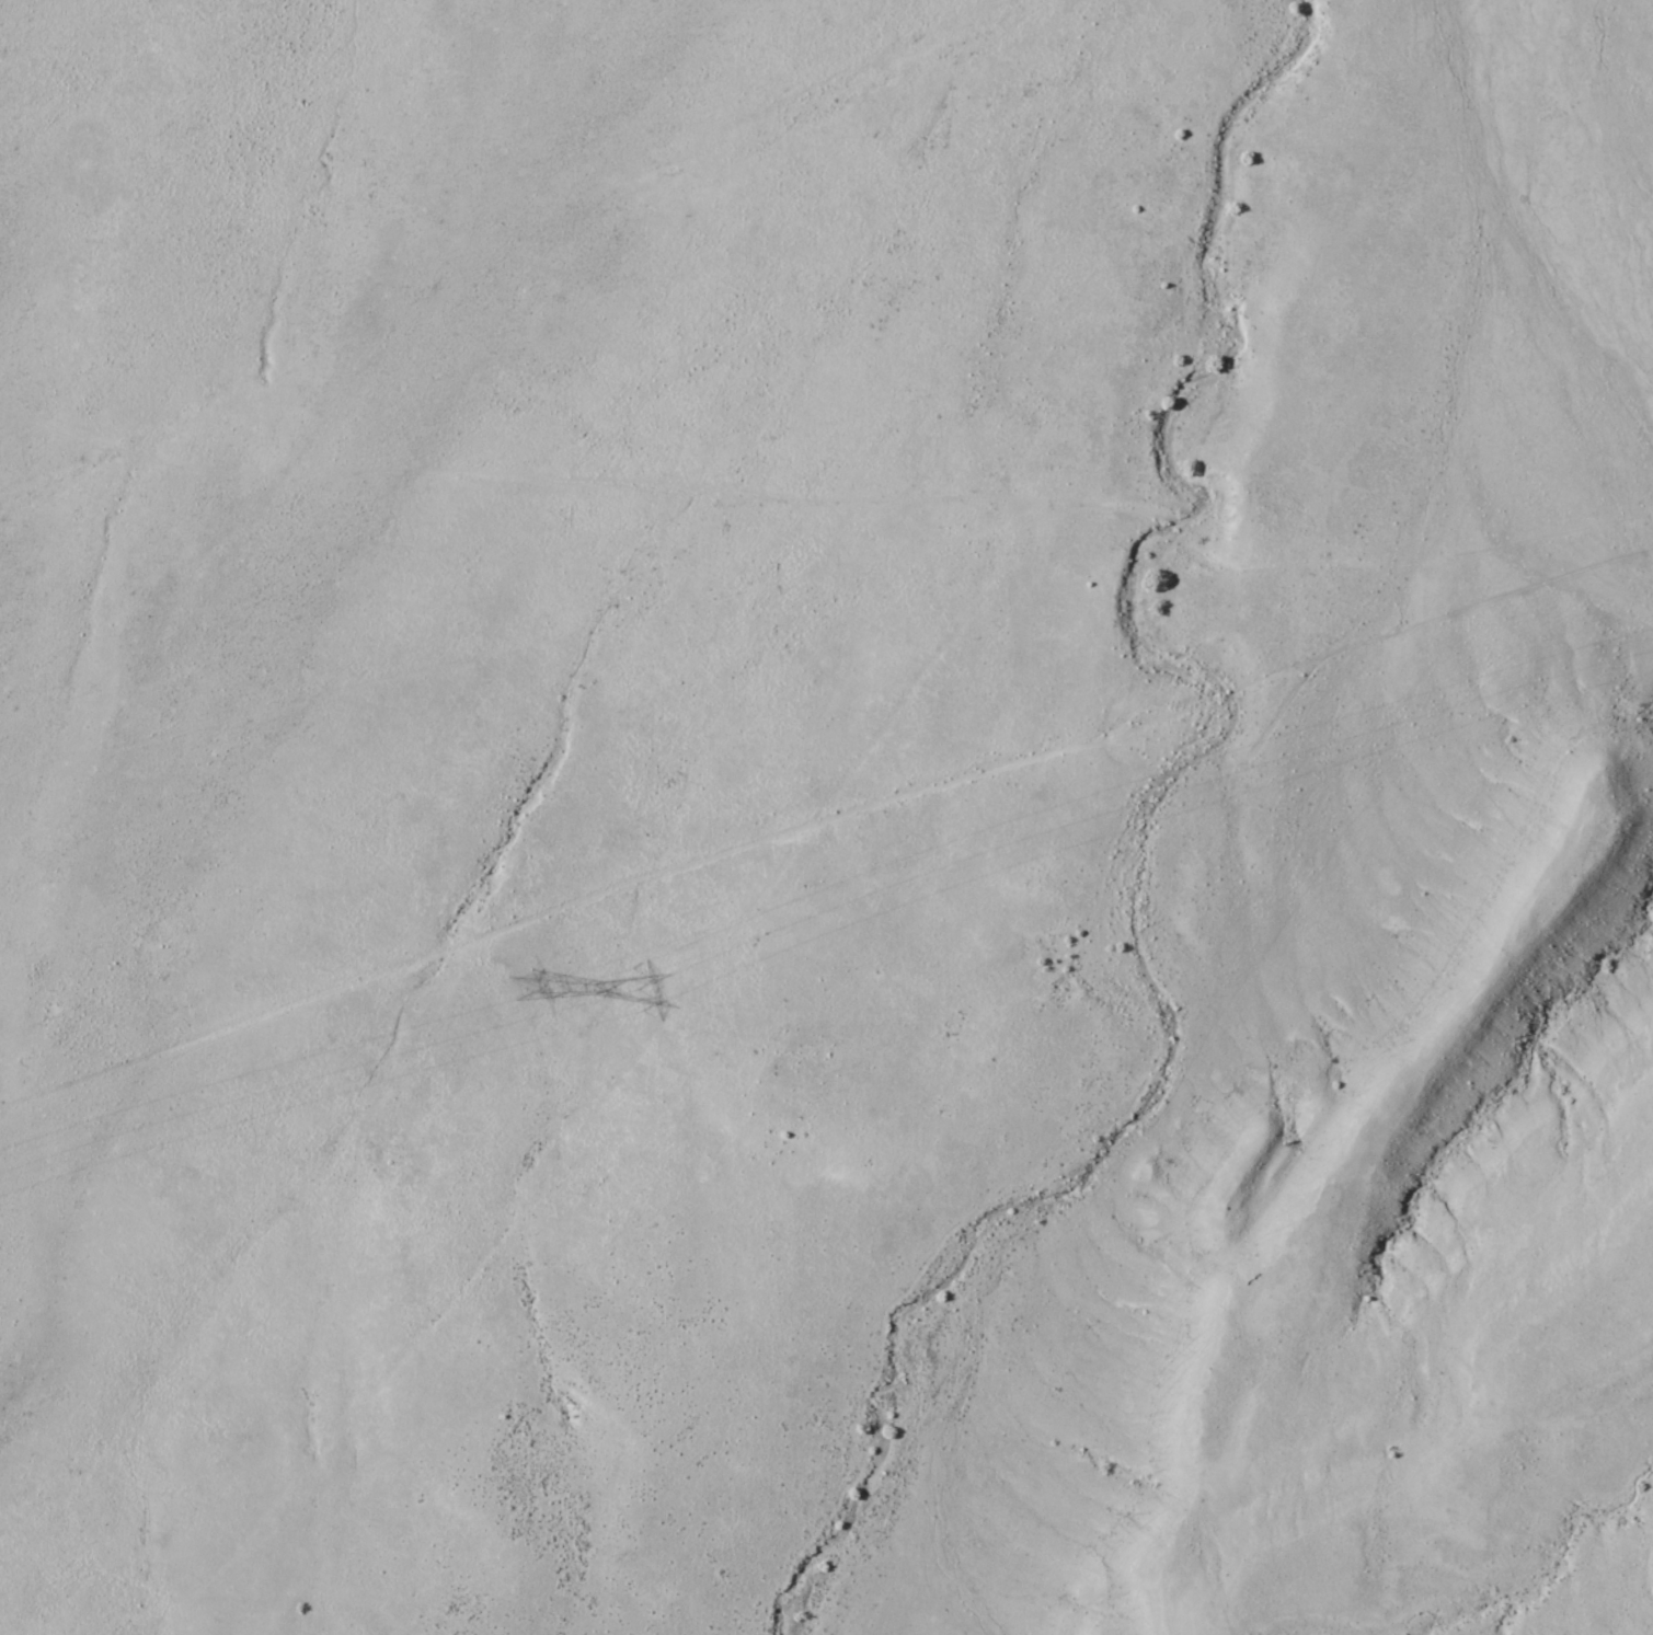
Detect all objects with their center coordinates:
road: (707, 538)
road: (834, 819)
power tower: (514, 983)

